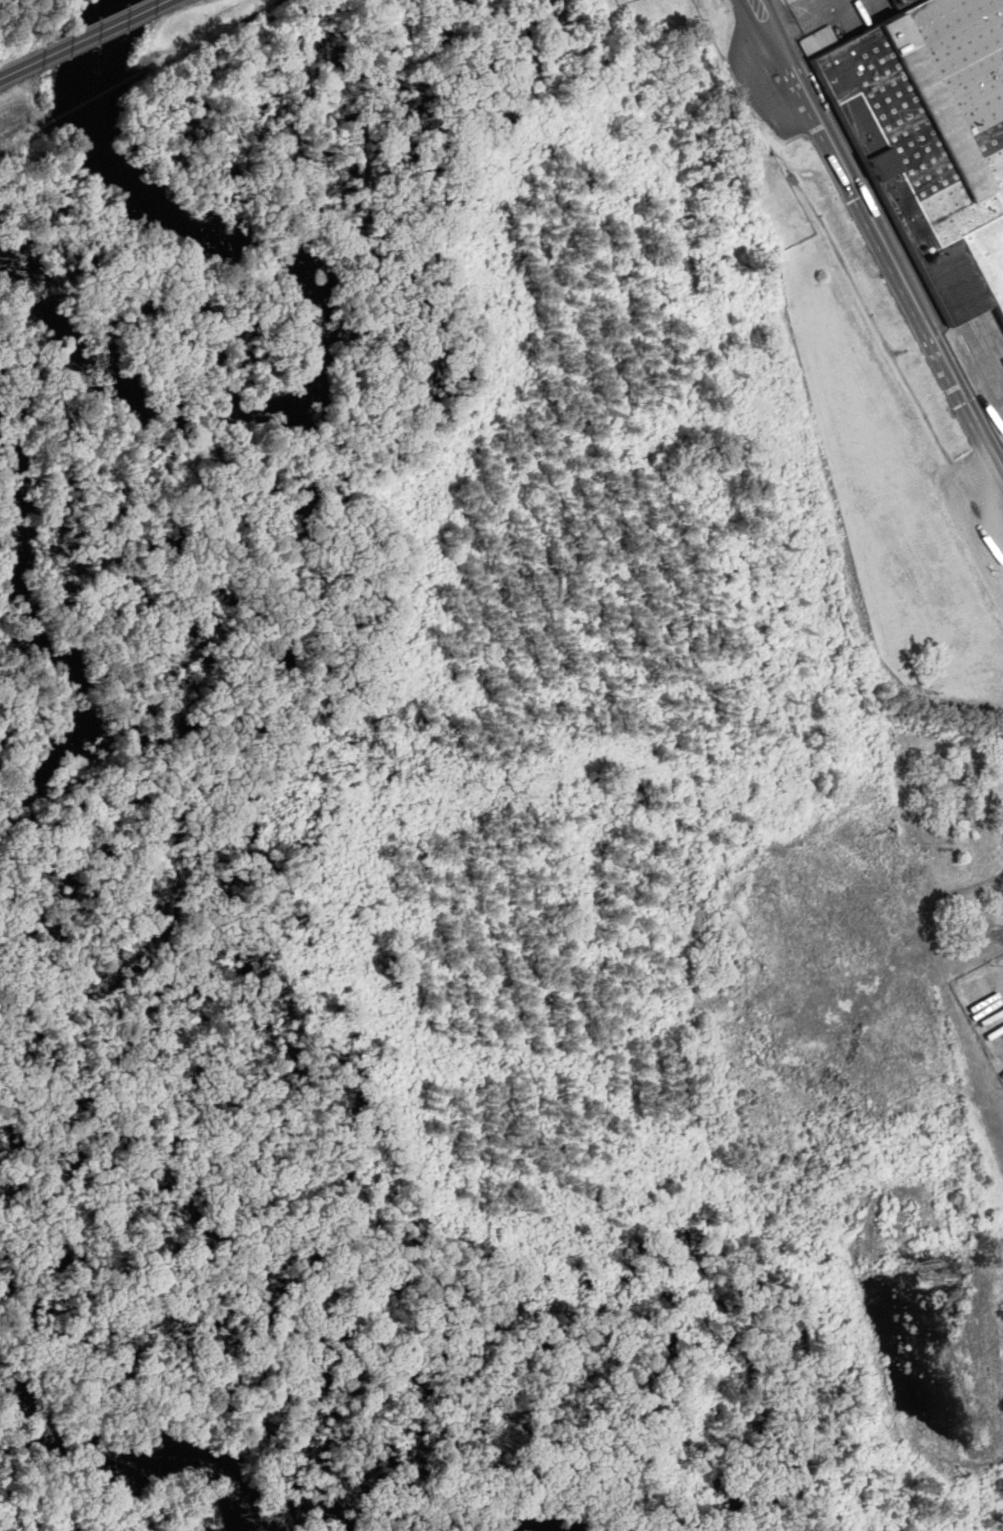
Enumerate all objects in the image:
road: (175, 0)
road: (108, 31)
road: (21, 70)
building: (937, 119)
road: (882, 234)
railway: (1000, 325)
river: (334, 332)
river: (65, 654)
river: (141, 1433)
river: (312, 1508)
river: (549, 1521)

